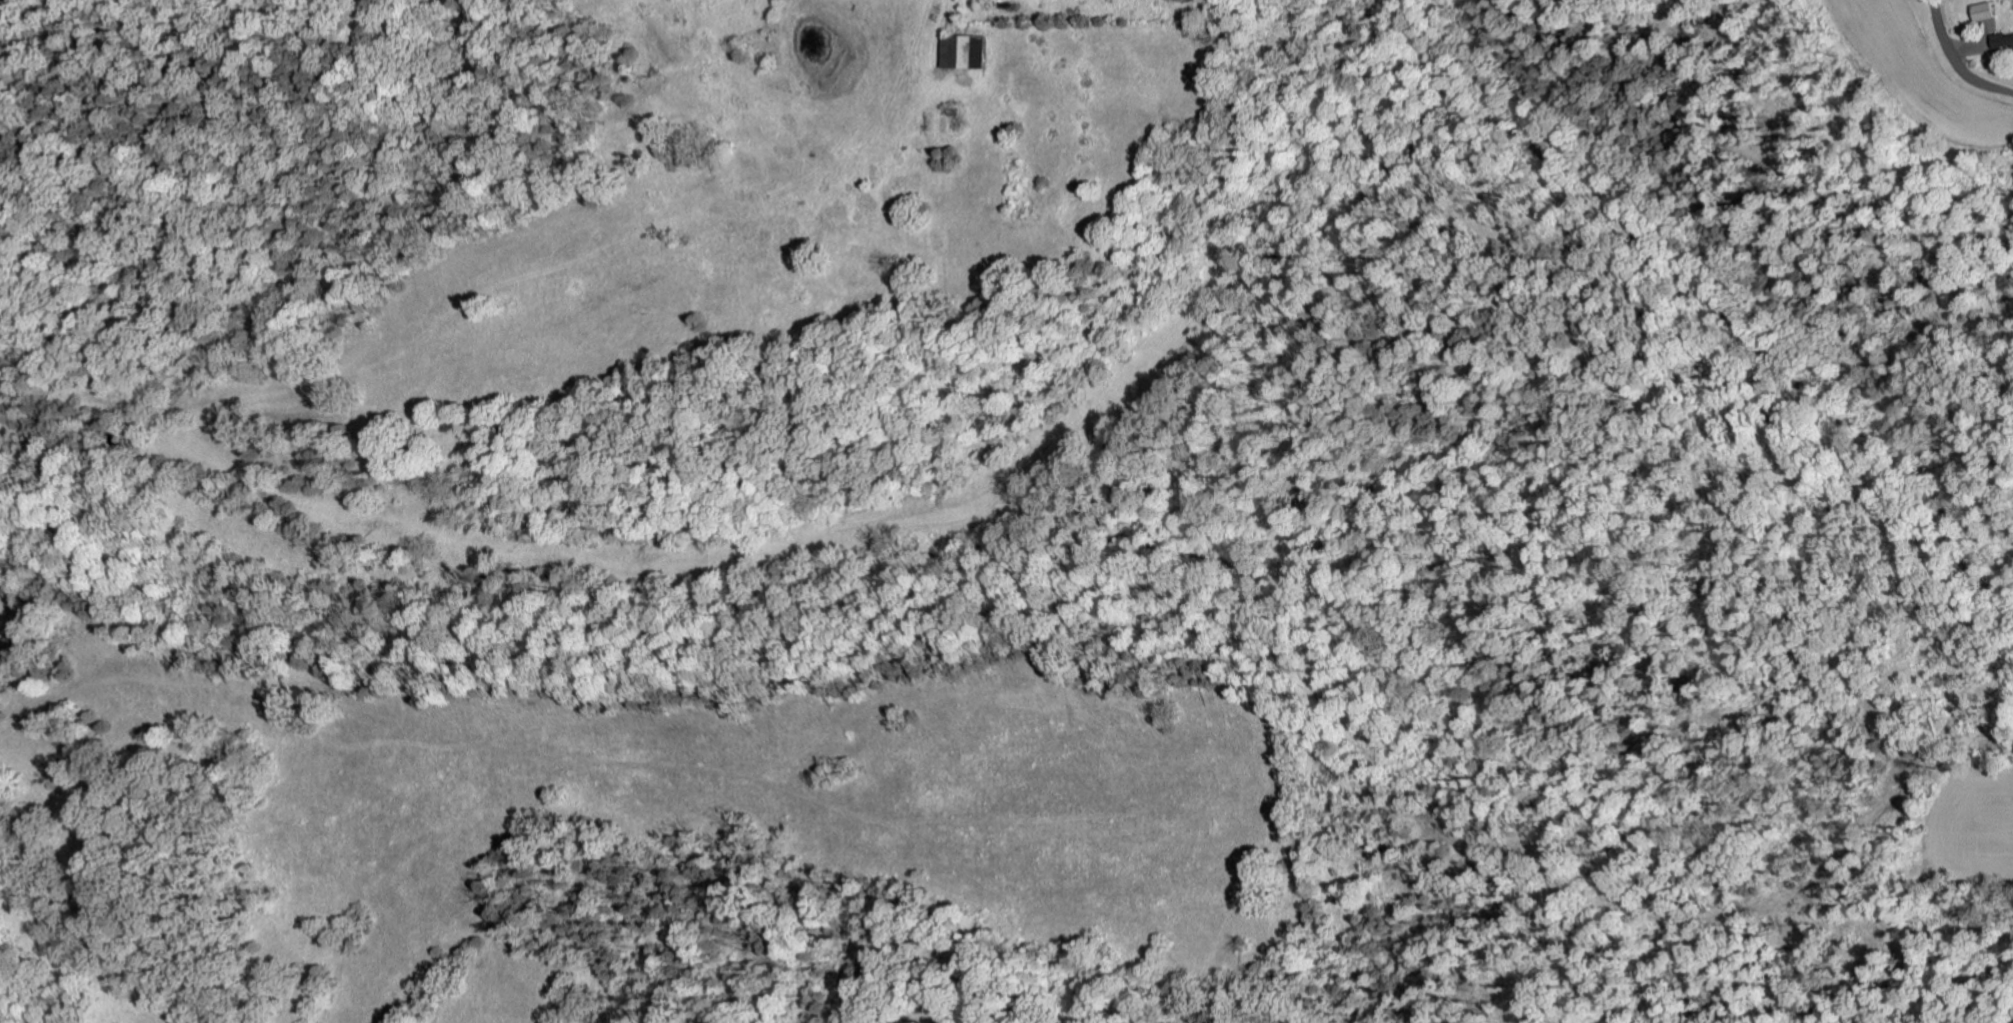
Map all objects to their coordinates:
building: (1980, 12)
building: (2001, 42)
building: (959, 52)
road: (1958, 59)

